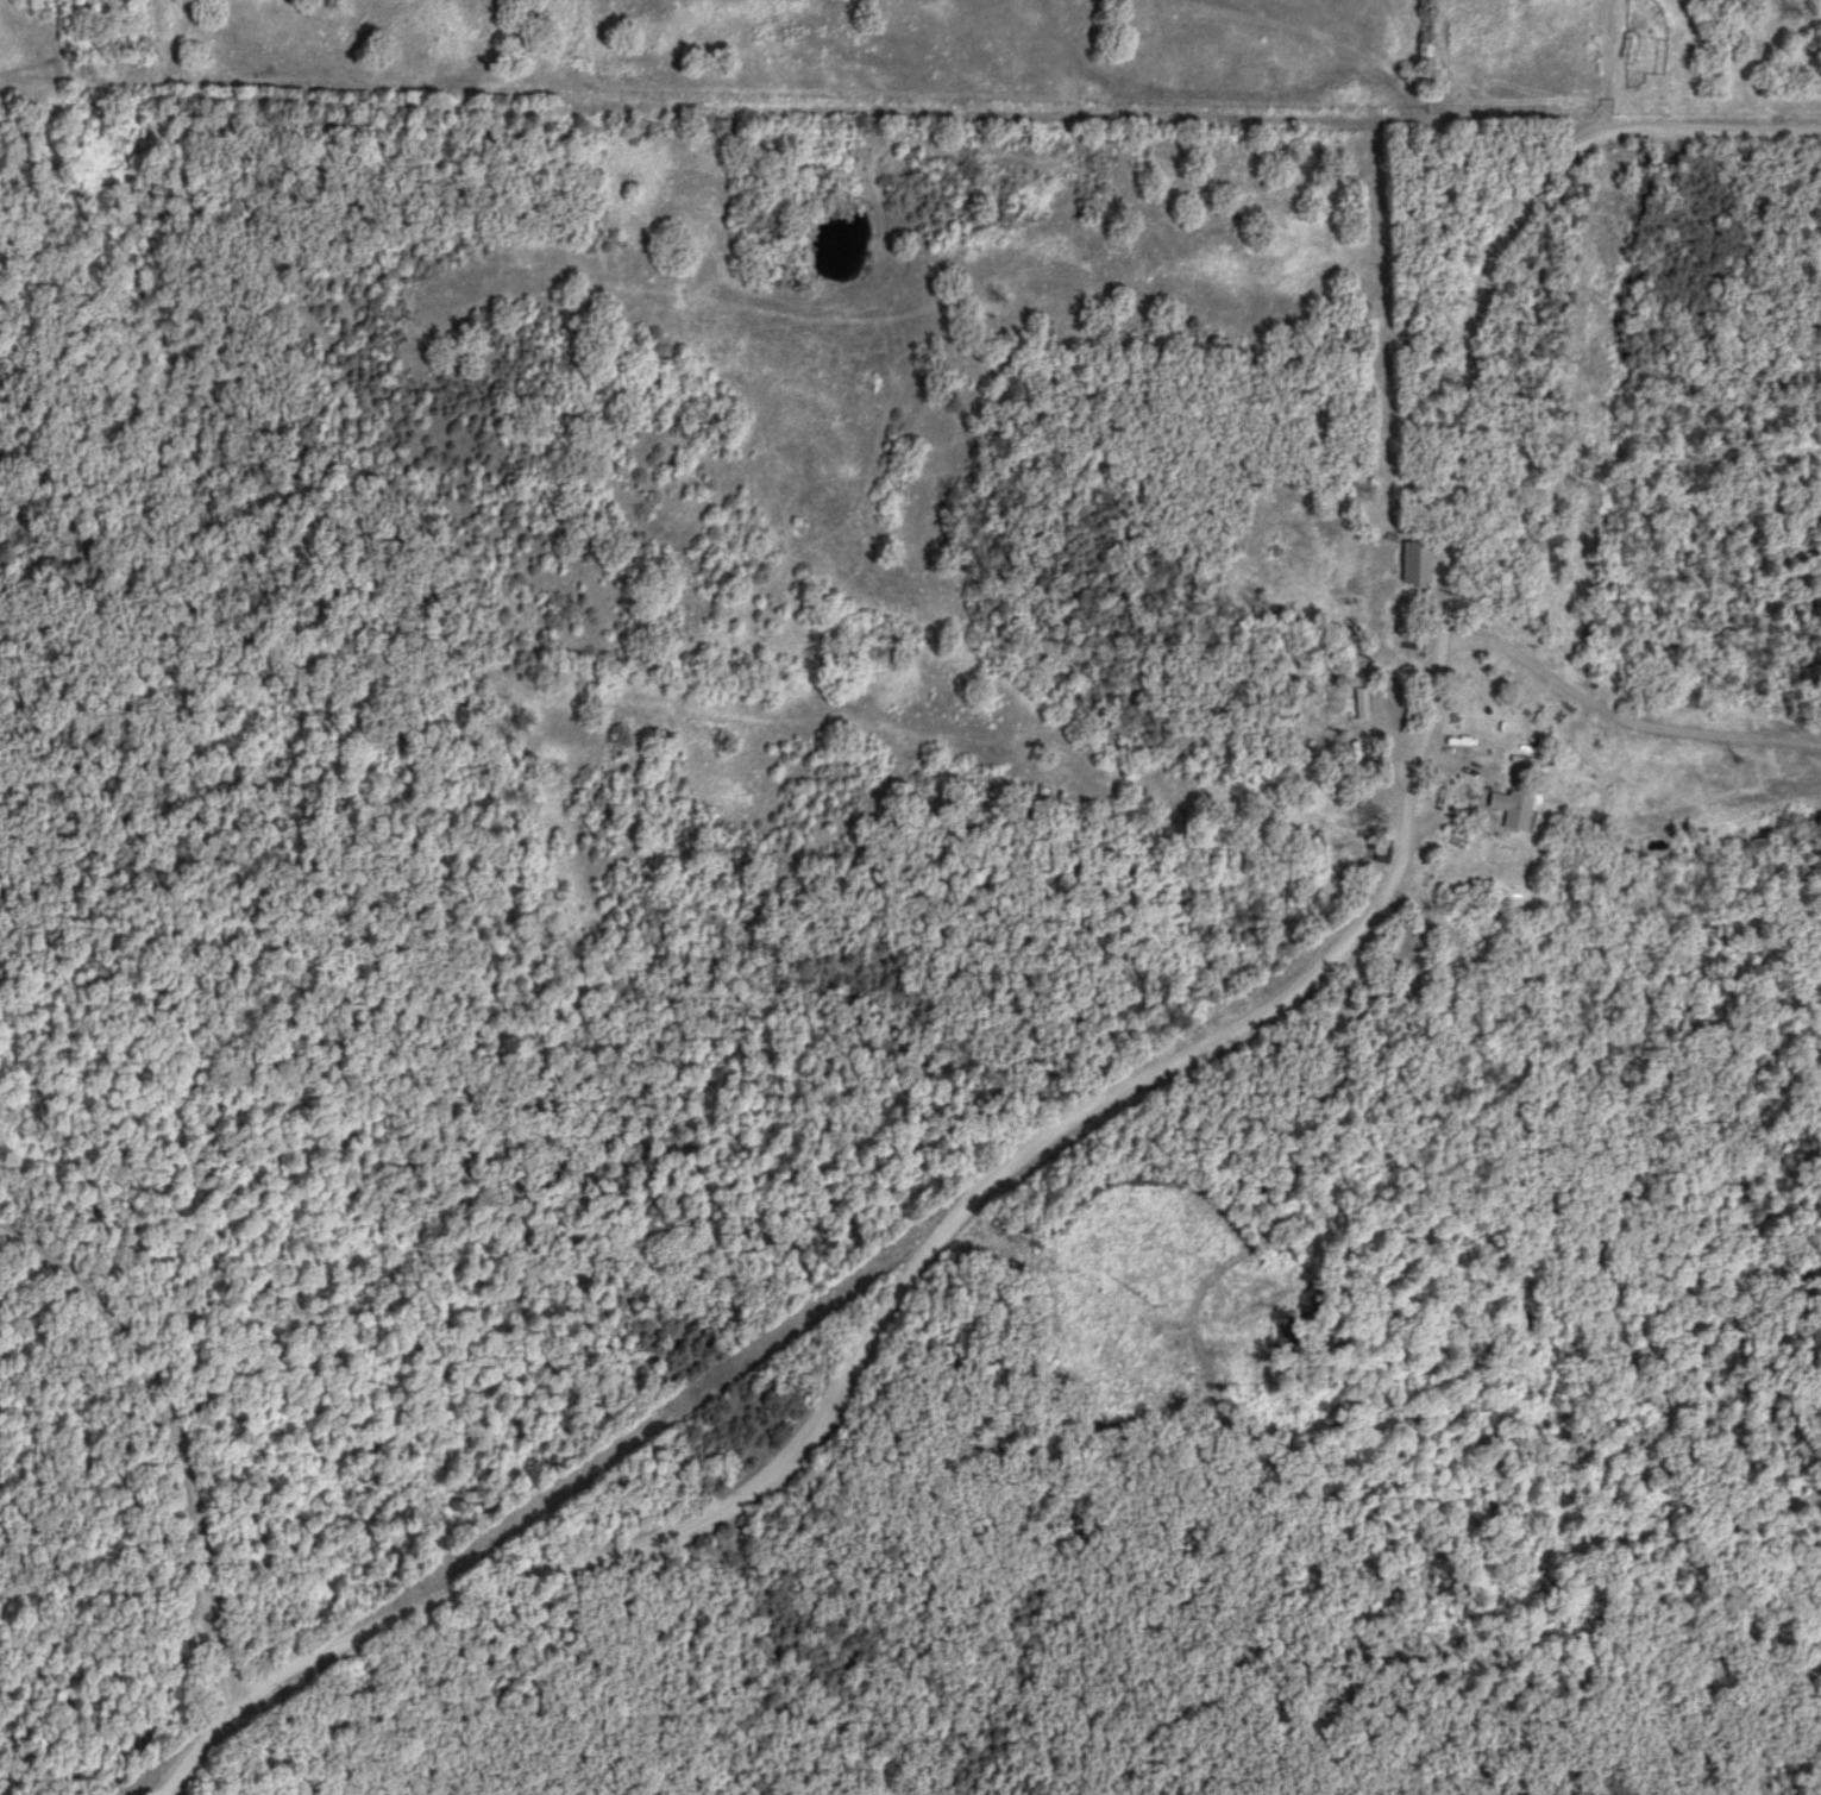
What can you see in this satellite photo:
building: (1421, 561)
building: (1364, 704)
building: (1524, 810)
road: (1238, 1029)
road: (175, 1431)
road: (200, 1745)

